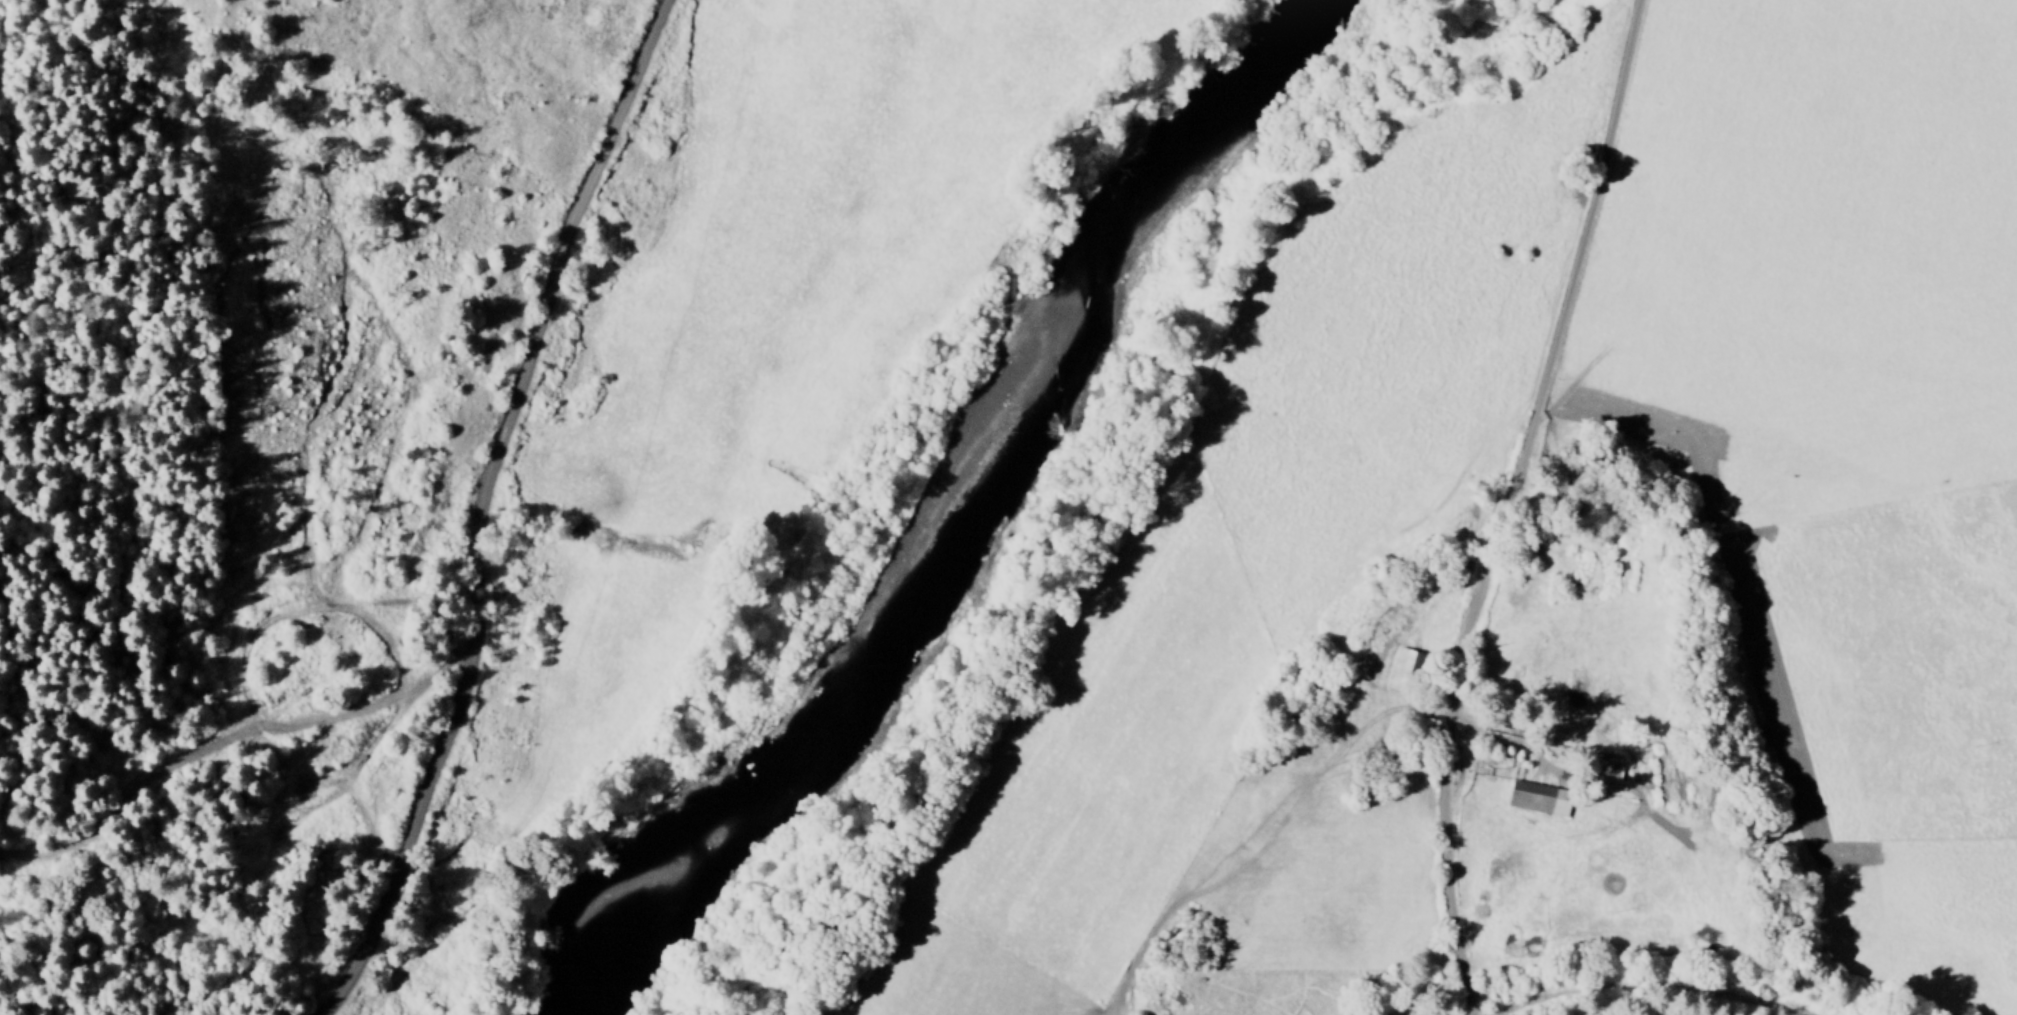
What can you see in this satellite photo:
road: (1624, 50)
road: (482, 508)
river: (947, 516)
road: (1489, 553)
building: (1400, 672)
road: (227, 741)
building: (1600, 766)
building: (1532, 800)
road: (1650, 990)

